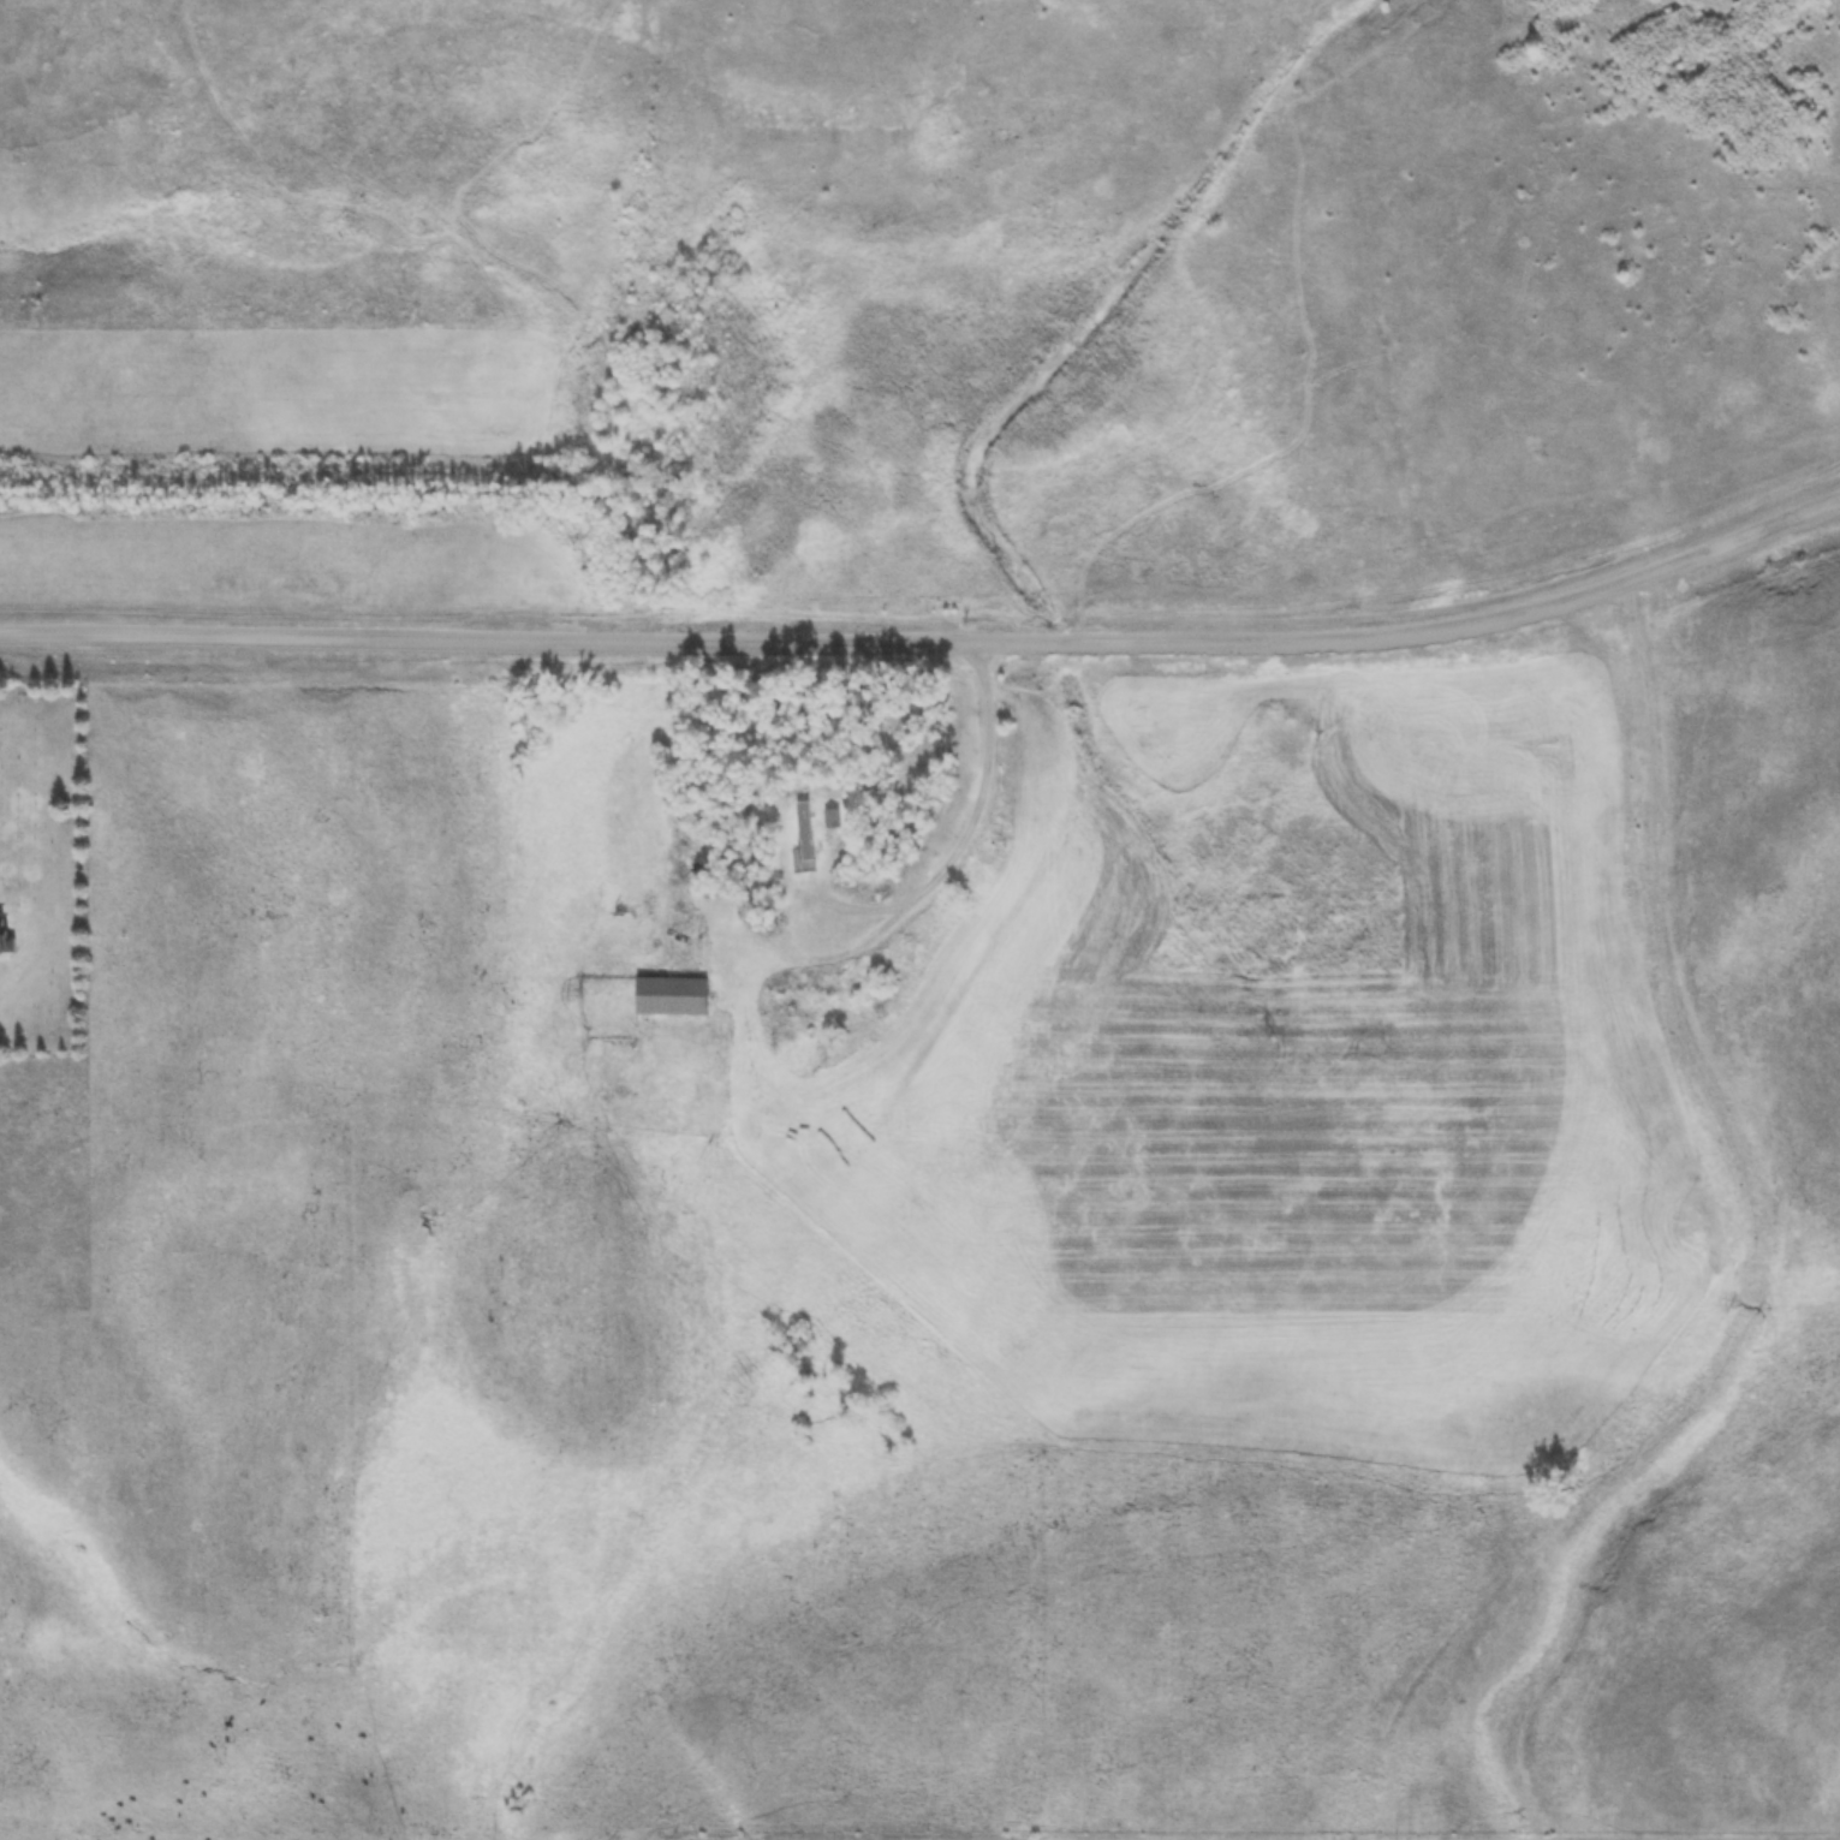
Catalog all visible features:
road: (410, 215)
road: (930, 639)
building: (836, 814)
building: (808, 828)
road: (955, 846)
building: (4, 923)
building: (675, 990)

